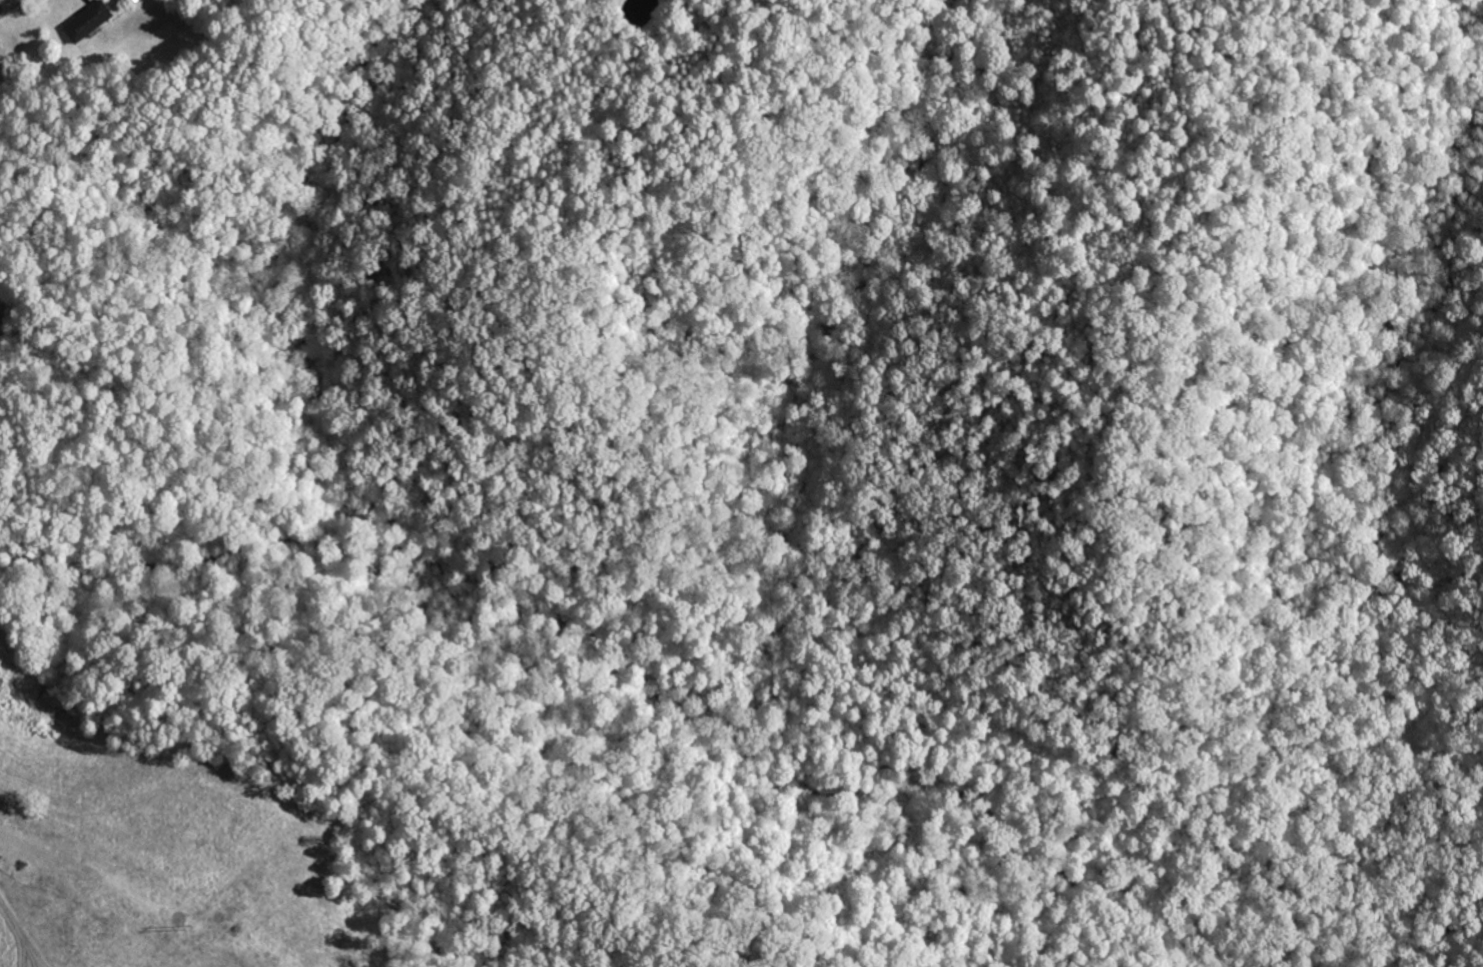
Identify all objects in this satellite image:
road: (8, 6)
building: (85, 22)

